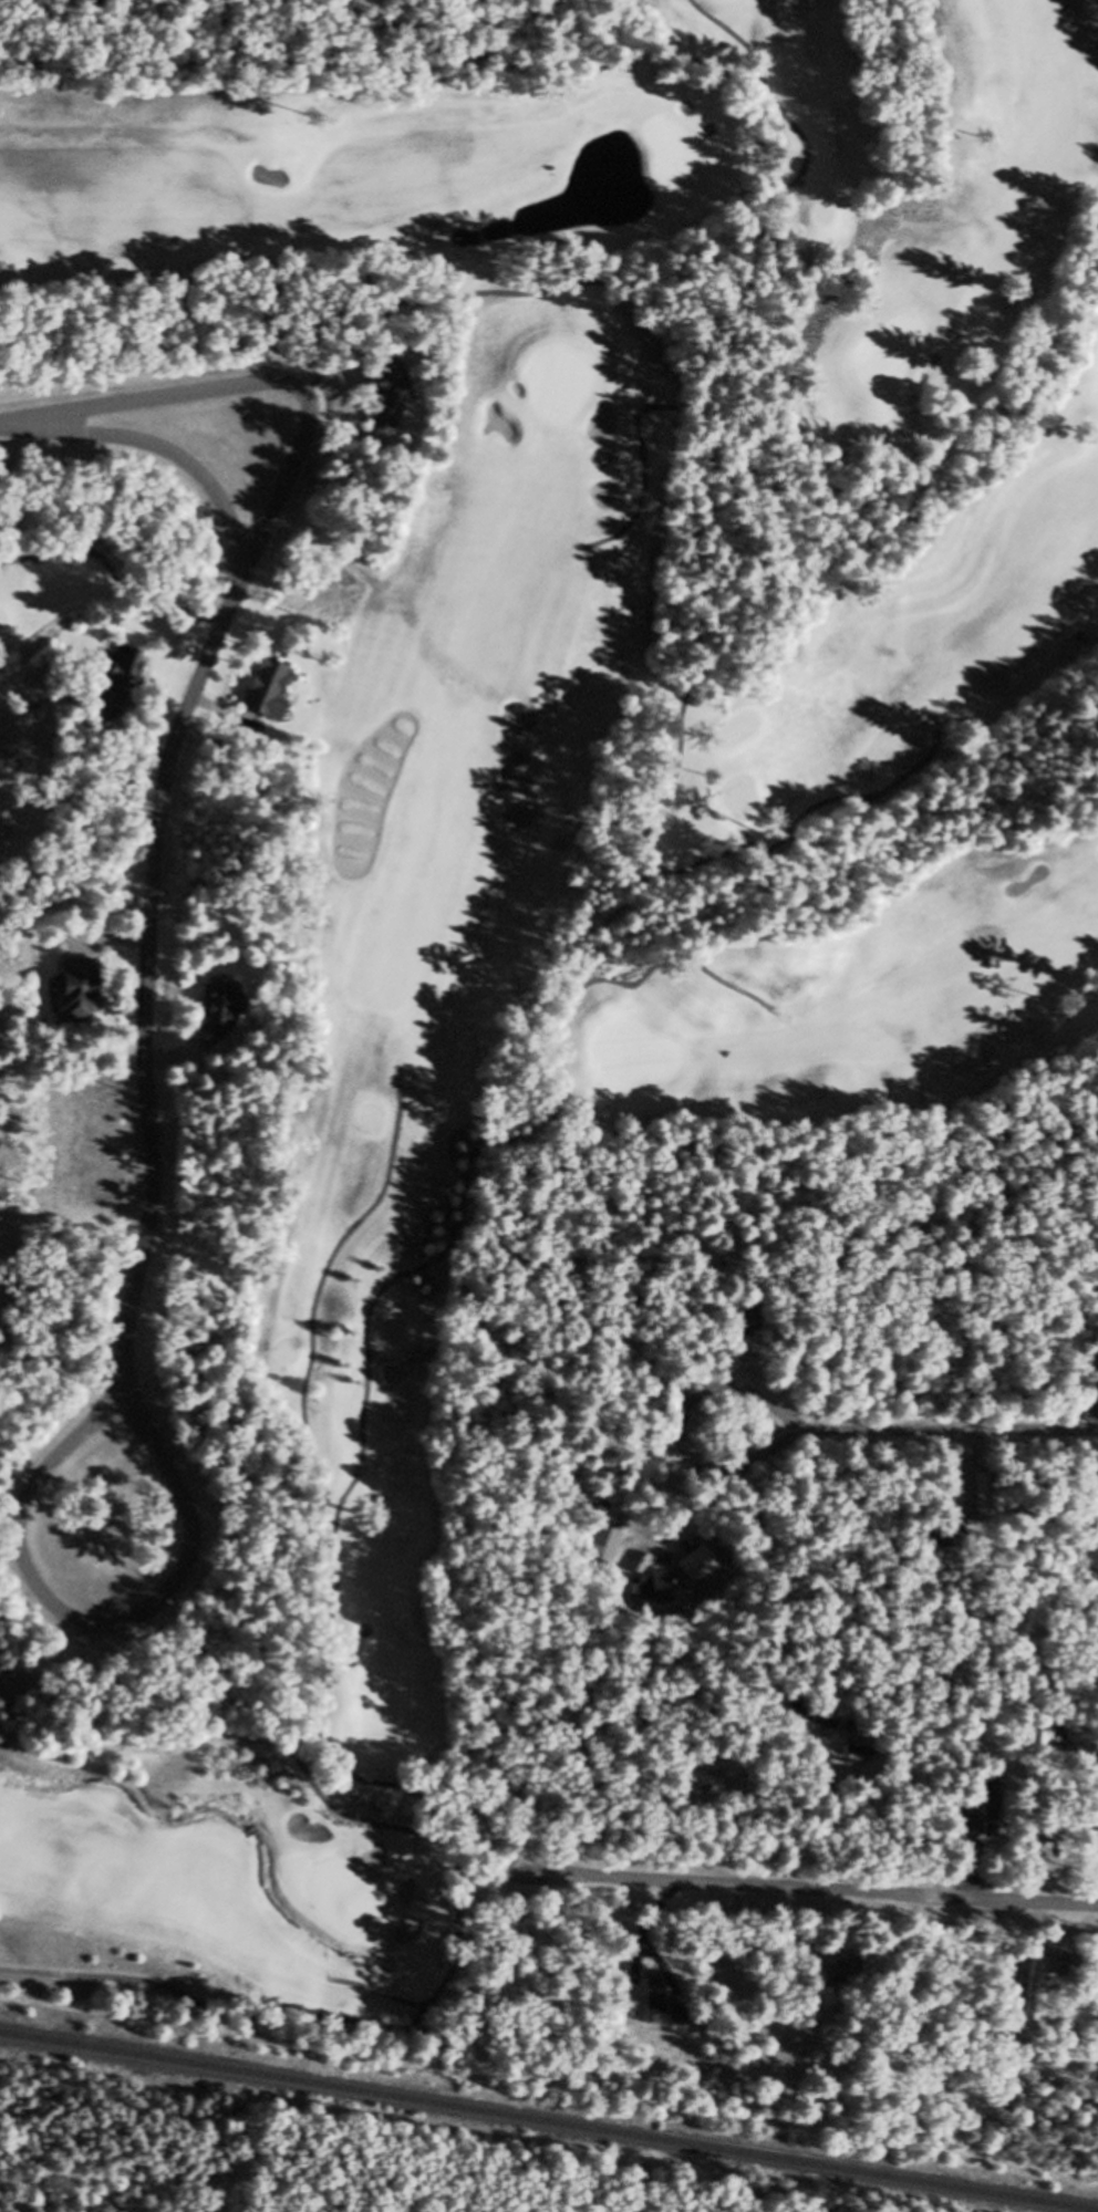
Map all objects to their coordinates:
road: (740, 46)
road: (587, 290)
road: (266, 391)
building: (389, 405)
road: (924, 555)
park: (84, 607)
building: (123, 689)
building: (270, 699)
park: (573, 812)
road: (166, 825)
building: (80, 1000)
building: (219, 1024)
road: (1002, 1076)
road: (315, 1371)
road: (959, 1437)
road: (685, 1439)
park: (8, 1481)
road: (15, 1495)
building: (987, 1506)
building: (607, 1554)
building: (664, 1592)
road: (340, 1608)
road: (96, 1632)
building: (797, 1722)
building: (1055, 1732)
building: (826, 1733)
building: (696, 1790)
building: (984, 1829)
building: (1056, 1841)
road: (819, 1894)
building: (837, 1981)
building: (1044, 1982)
building: (654, 2010)
road: (269, 2013)
railway: (527, 2126)

